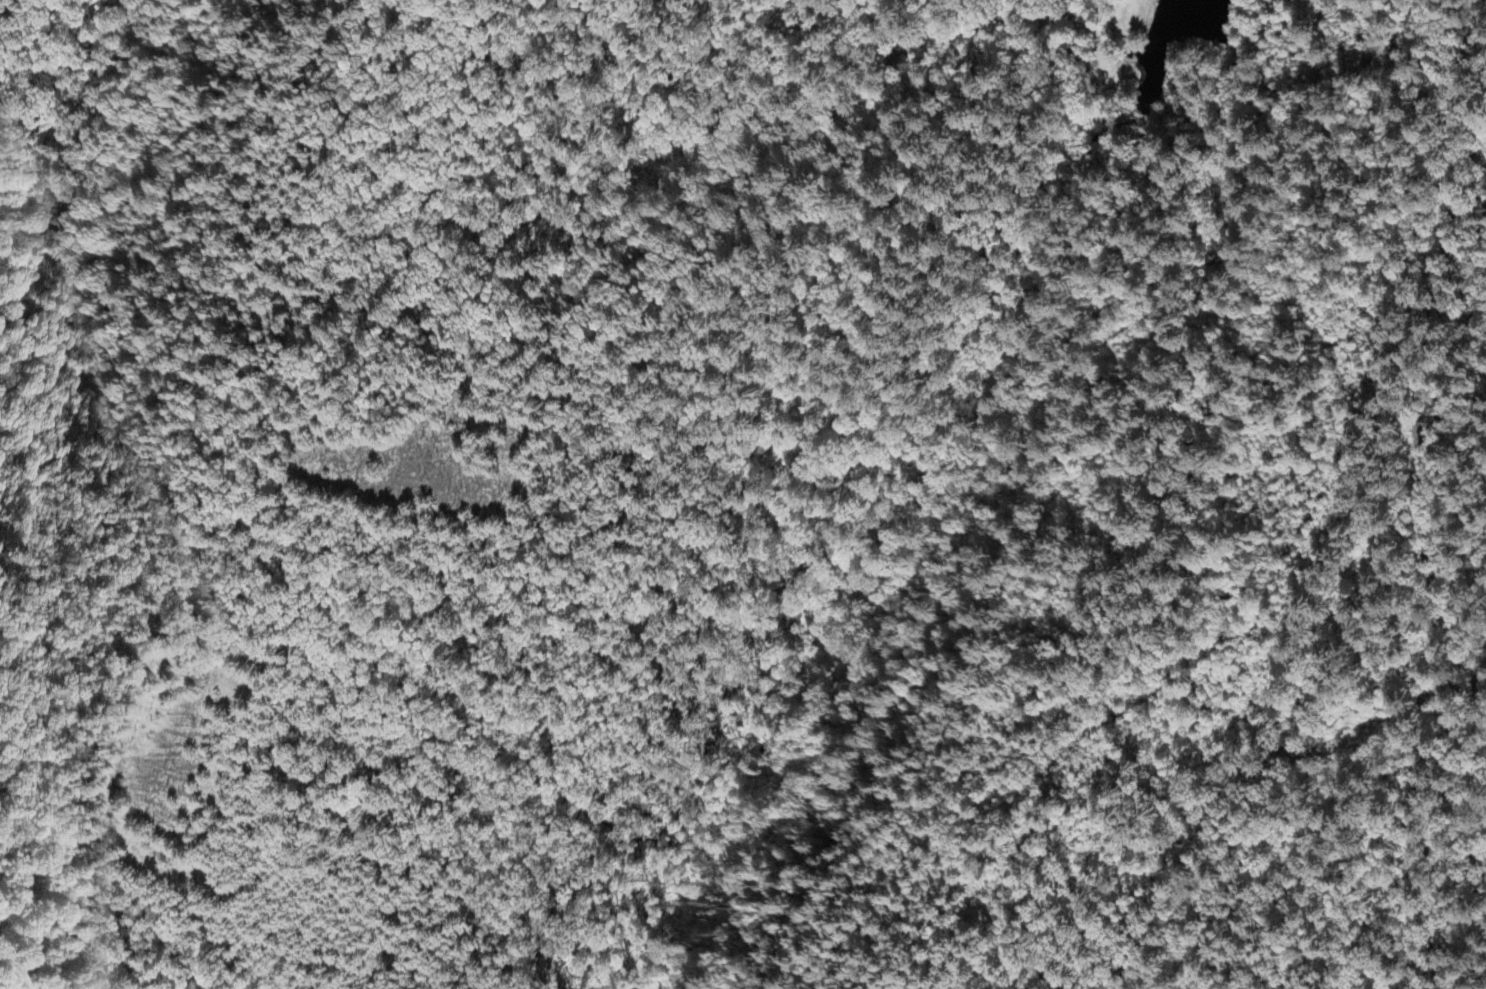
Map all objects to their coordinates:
road: (1414, 359)

